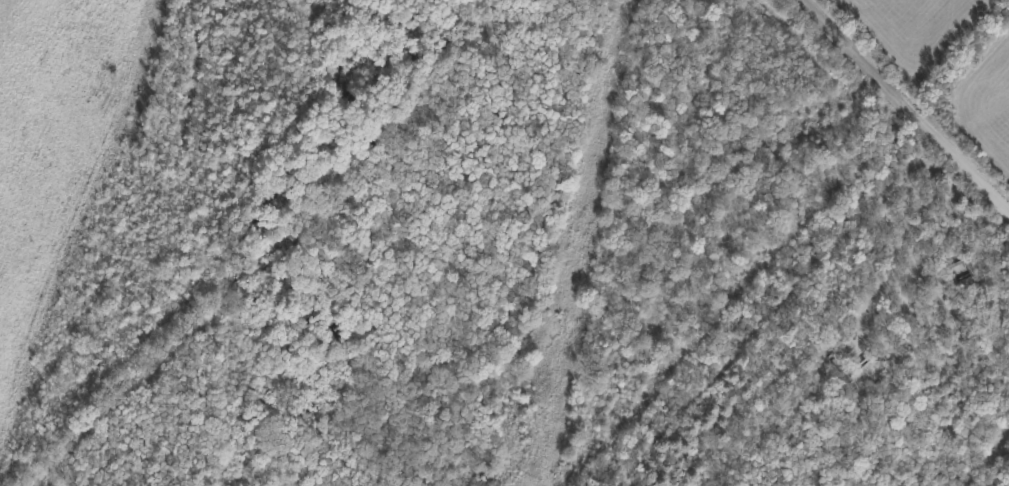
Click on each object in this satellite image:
road: (900, 108)

